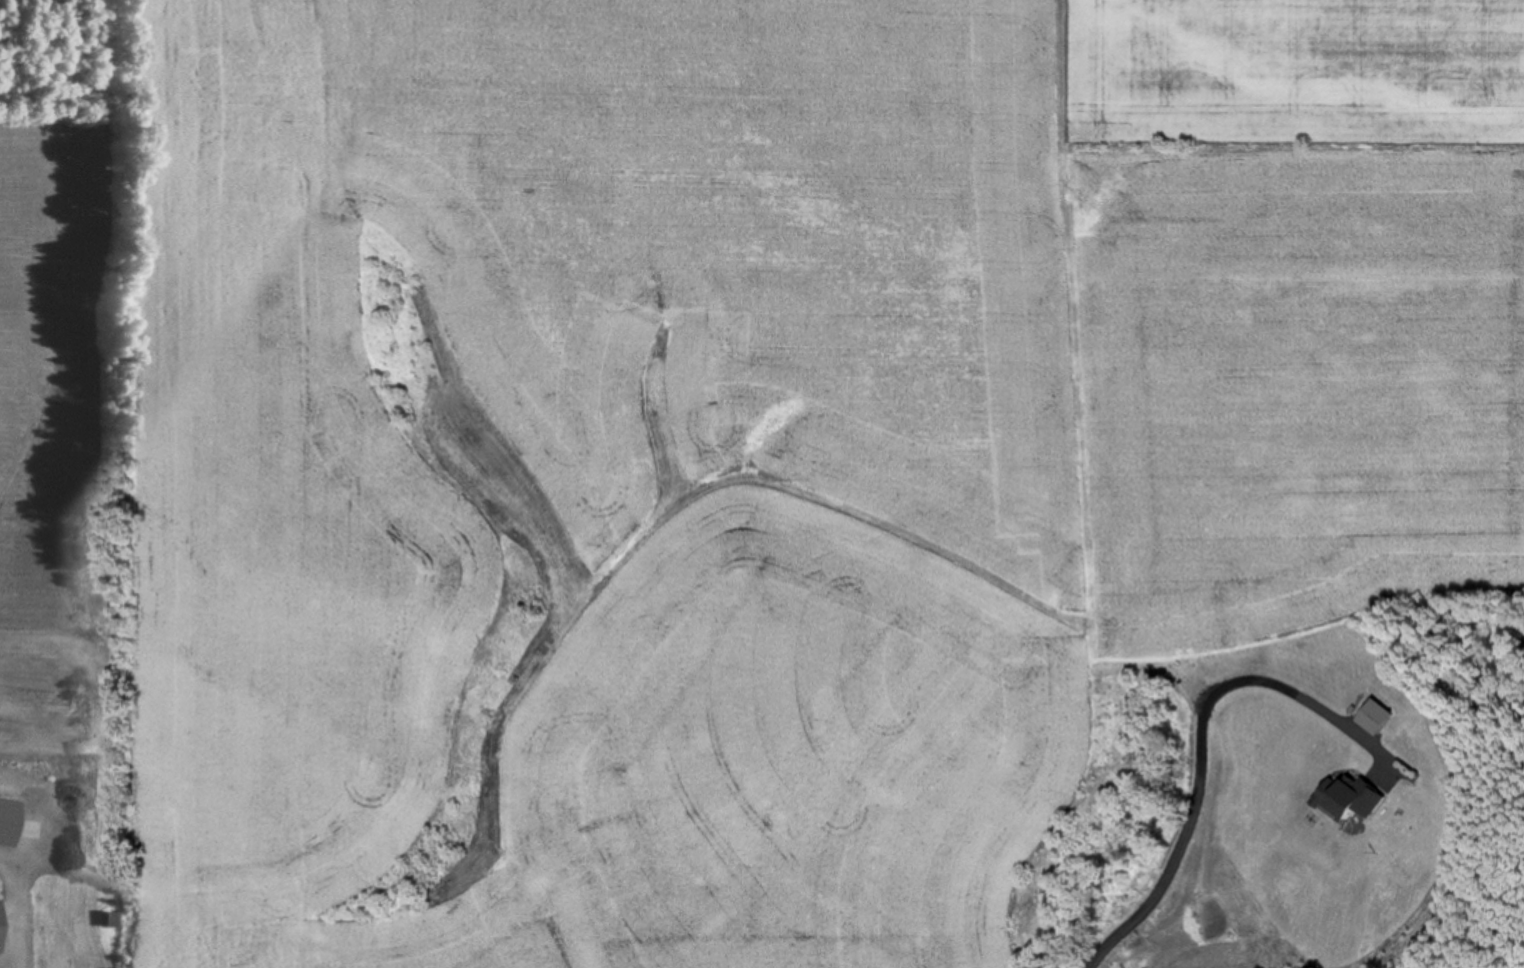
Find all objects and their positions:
road: (1201, 752)
road: (21, 908)
building: (113, 919)

